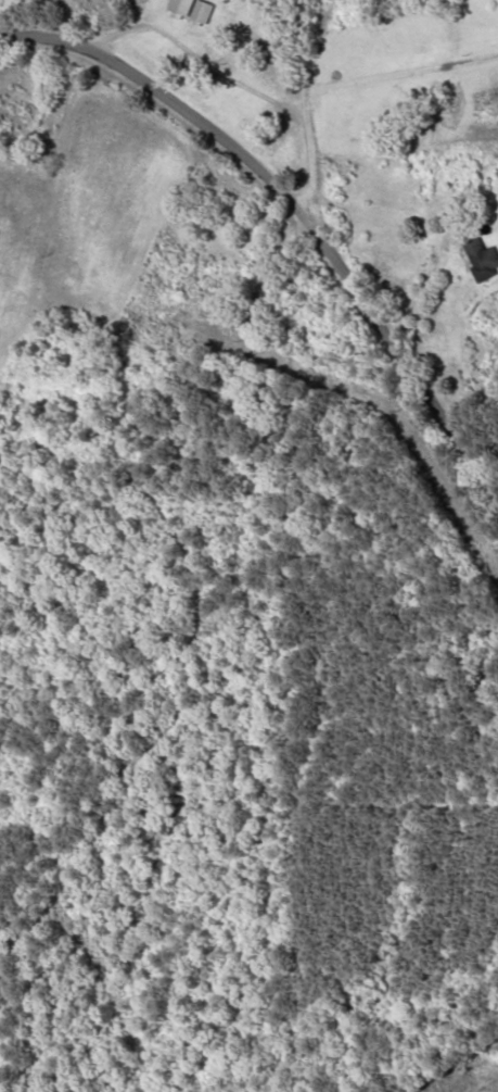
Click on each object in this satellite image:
building: (195, 10)
road: (163, 95)
road: (310, 109)
building: (482, 255)
road: (398, 361)

